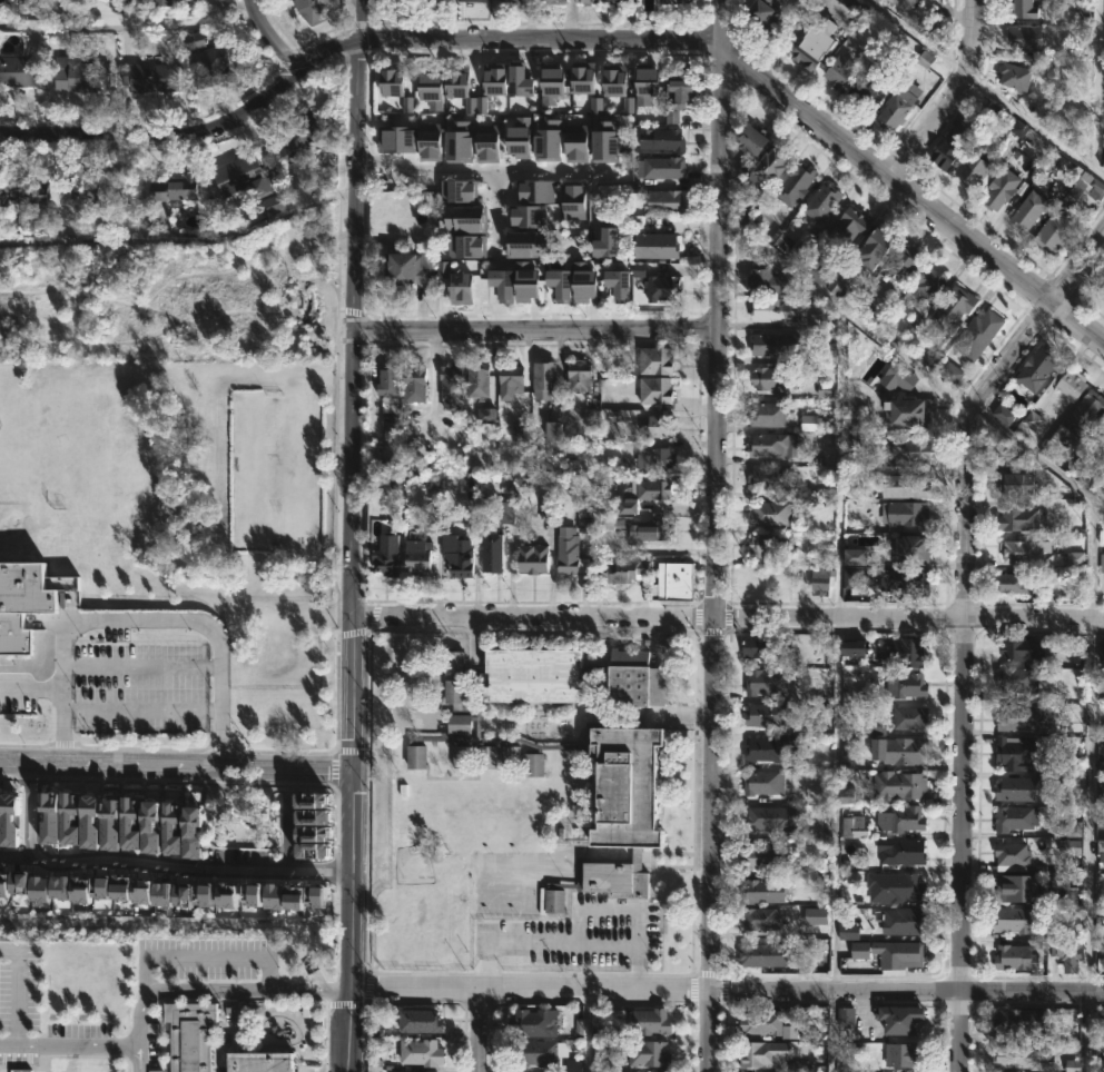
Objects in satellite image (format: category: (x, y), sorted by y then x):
building: (514, 1)
building: (553, 1)
building: (585, 1)
building: (615, 1)
building: (159, 2)
building: (671, 2)
building: (168, 3)
building: (909, 3)
building: (126, 4)
building: (856, 6)
building: (1023, 8)
building: (312, 11)
building: (763, 14)
road: (122, 23)
road: (269, 34)
building: (1025, 37)
building: (814, 44)
road: (321, 48)
building: (925, 59)
building: (208, 67)
building: (18, 69)
building: (838, 71)
building: (144, 75)
building: (1015, 75)
building: (78, 76)
building: (582, 78)
building: (614, 80)
road: (769, 81)
road: (1094, 85)
building: (647, 86)
building: (559, 87)
road: (987, 88)
building: (868, 89)
building: (679, 92)
road: (952, 93)
building: (595, 105)
building: (628, 105)
building: (897, 106)
building: (1018, 128)
building: (1103, 129)
building: (300, 133)
road: (154, 135)
building: (661, 138)
building: (751, 138)
building: (604, 140)
building: (575, 142)
building: (952, 142)
building: (743, 163)
building: (767, 166)
building: (660, 167)
building: (972, 169)
road: (490, 172)
building: (240, 178)
building: (795, 182)
building: (461, 186)
building: (1086, 187)
building: (1000, 188)
building: (171, 189)
building: (99, 190)
road: (493, 190)
building: (20, 193)
building: (573, 200)
building: (664, 200)
building: (821, 201)
building: (273, 204)
building: (1029, 210)
building: (747, 211)
building: (447, 216)
building: (849, 225)
building: (1054, 231)
parking lot: (308, 237)
road: (184, 239)
building: (607, 244)
building: (465, 245)
building: (655, 245)
building: (874, 248)
building: (903, 262)
building: (405, 265)
building: (441, 266)
building: (1097, 275)
building: (457, 279)
building: (829, 279)
building: (584, 280)
building: (499, 281)
building: (766, 281)
building: (927, 282)
road: (300, 284)
building: (560, 284)
building: (619, 284)
building: (661, 287)
park: (175, 295)
road: (155, 298)
building: (952, 308)
road: (304, 309)
building: (773, 309)
road: (230, 315)
building: (822, 319)
building: (915, 324)
road: (536, 330)
building: (977, 335)
building: (775, 344)
road: (108, 346)
road: (911, 356)
building: (654, 360)
building: (1036, 368)
building: (952, 373)
building: (578, 375)
building: (510, 376)
building: (898, 377)
building: (476, 378)
building: (769, 378)
building: (543, 379)
building: (1069, 383)
building: (413, 384)
building: (450, 386)
building: (386, 387)
building: (654, 389)
building: (824, 389)
building: (909, 413)
building: (767, 414)
building: (1003, 414)
building: (1084, 414)
building: (1032, 420)
building: (809, 423)
building: (660, 426)
building: (1102, 431)
building: (772, 445)
building: (908, 449)
building: (1012, 457)
building: (654, 458)
building: (769, 477)
building: (1100, 477)
building: (1016, 484)
building: (905, 486)
road: (714, 495)
building: (642, 496)
building: (583, 510)
building: (769, 514)
building: (903, 515)
building: (1017, 518)
building: (584, 525)
building: (605, 525)
building: (652, 530)
road: (353, 536)
building: (770, 545)
building: (910, 548)
building: (491, 550)
building: (1024, 550)
building: (456, 554)
building: (384, 555)
building: (416, 555)
building: (569, 556)
building: (856, 557)
building: (531, 558)
road: (1092, 558)
building: (1075, 559)
building: (1102, 563)
building: (620, 569)
building: (850, 578)
building: (820, 579)
building: (672, 580)
building: (905, 582)
building: (1016, 584)
building: (19, 603)
road: (533, 615)
road: (909, 616)
road: (142, 617)
road: (958, 628)
building: (759, 646)
building: (852, 647)
building: (1023, 648)
building: (903, 654)
road: (140, 667)
building: (1016, 679)
building: (765, 681)
building: (906, 685)
road: (31, 687)
road: (140, 711)
building: (767, 714)
building: (1025, 715)
building: (909, 717)
building: (877, 724)
building: (1102, 728)
building: (847, 745)
building: (570, 746)
building: (768, 748)
building: (899, 750)
building: (1018, 753)
building: (847, 762)
road: (174, 767)
building: (763, 782)
building: (899, 785)
building: (1016, 790)
building: (1100, 793)
building: (847, 796)
road: (835, 805)
road: (1090, 805)
road: (31, 813)
building: (1015, 817)
building: (759, 818)
building: (903, 820)
building: (854, 827)
building: (1069, 831)
building: (1069, 847)
building: (903, 852)
road: (20, 856)
building: (1012, 856)
building: (762, 857)
road: (195, 866)
building: (901, 889)
building: (1016, 889)
building: (763, 891)
building: (815, 915)
building: (759, 920)
building: (1016, 920)
building: (903, 921)
building: (848, 932)
building: (859, 950)
building: (898, 953)
building: (1066, 953)
building: (758, 955)
building: (824, 955)
building: (1015, 956)
road: (211, 960)
road: (529, 989)
road: (19, 990)
road: (210, 992)
road: (906, 992)
building: (846, 1018)
building: (898, 1018)
building: (418, 1022)
building: (649, 1022)
building: (1016, 1022)
building: (533, 1023)
building: (760, 1023)
building: (579, 1026)
road: (480, 1031)
road: (708, 1031)
road: (832, 1032)
road: (1086, 1032)
building: (189, 1035)
road: (69, 1046)
building: (420, 1052)
building: (535, 1053)
building: (648, 1054)
building: (904, 1055)
building: (769, 1056)
building: (1022, 1056)
building: (259, 1063)
building: (1073, 1065)

